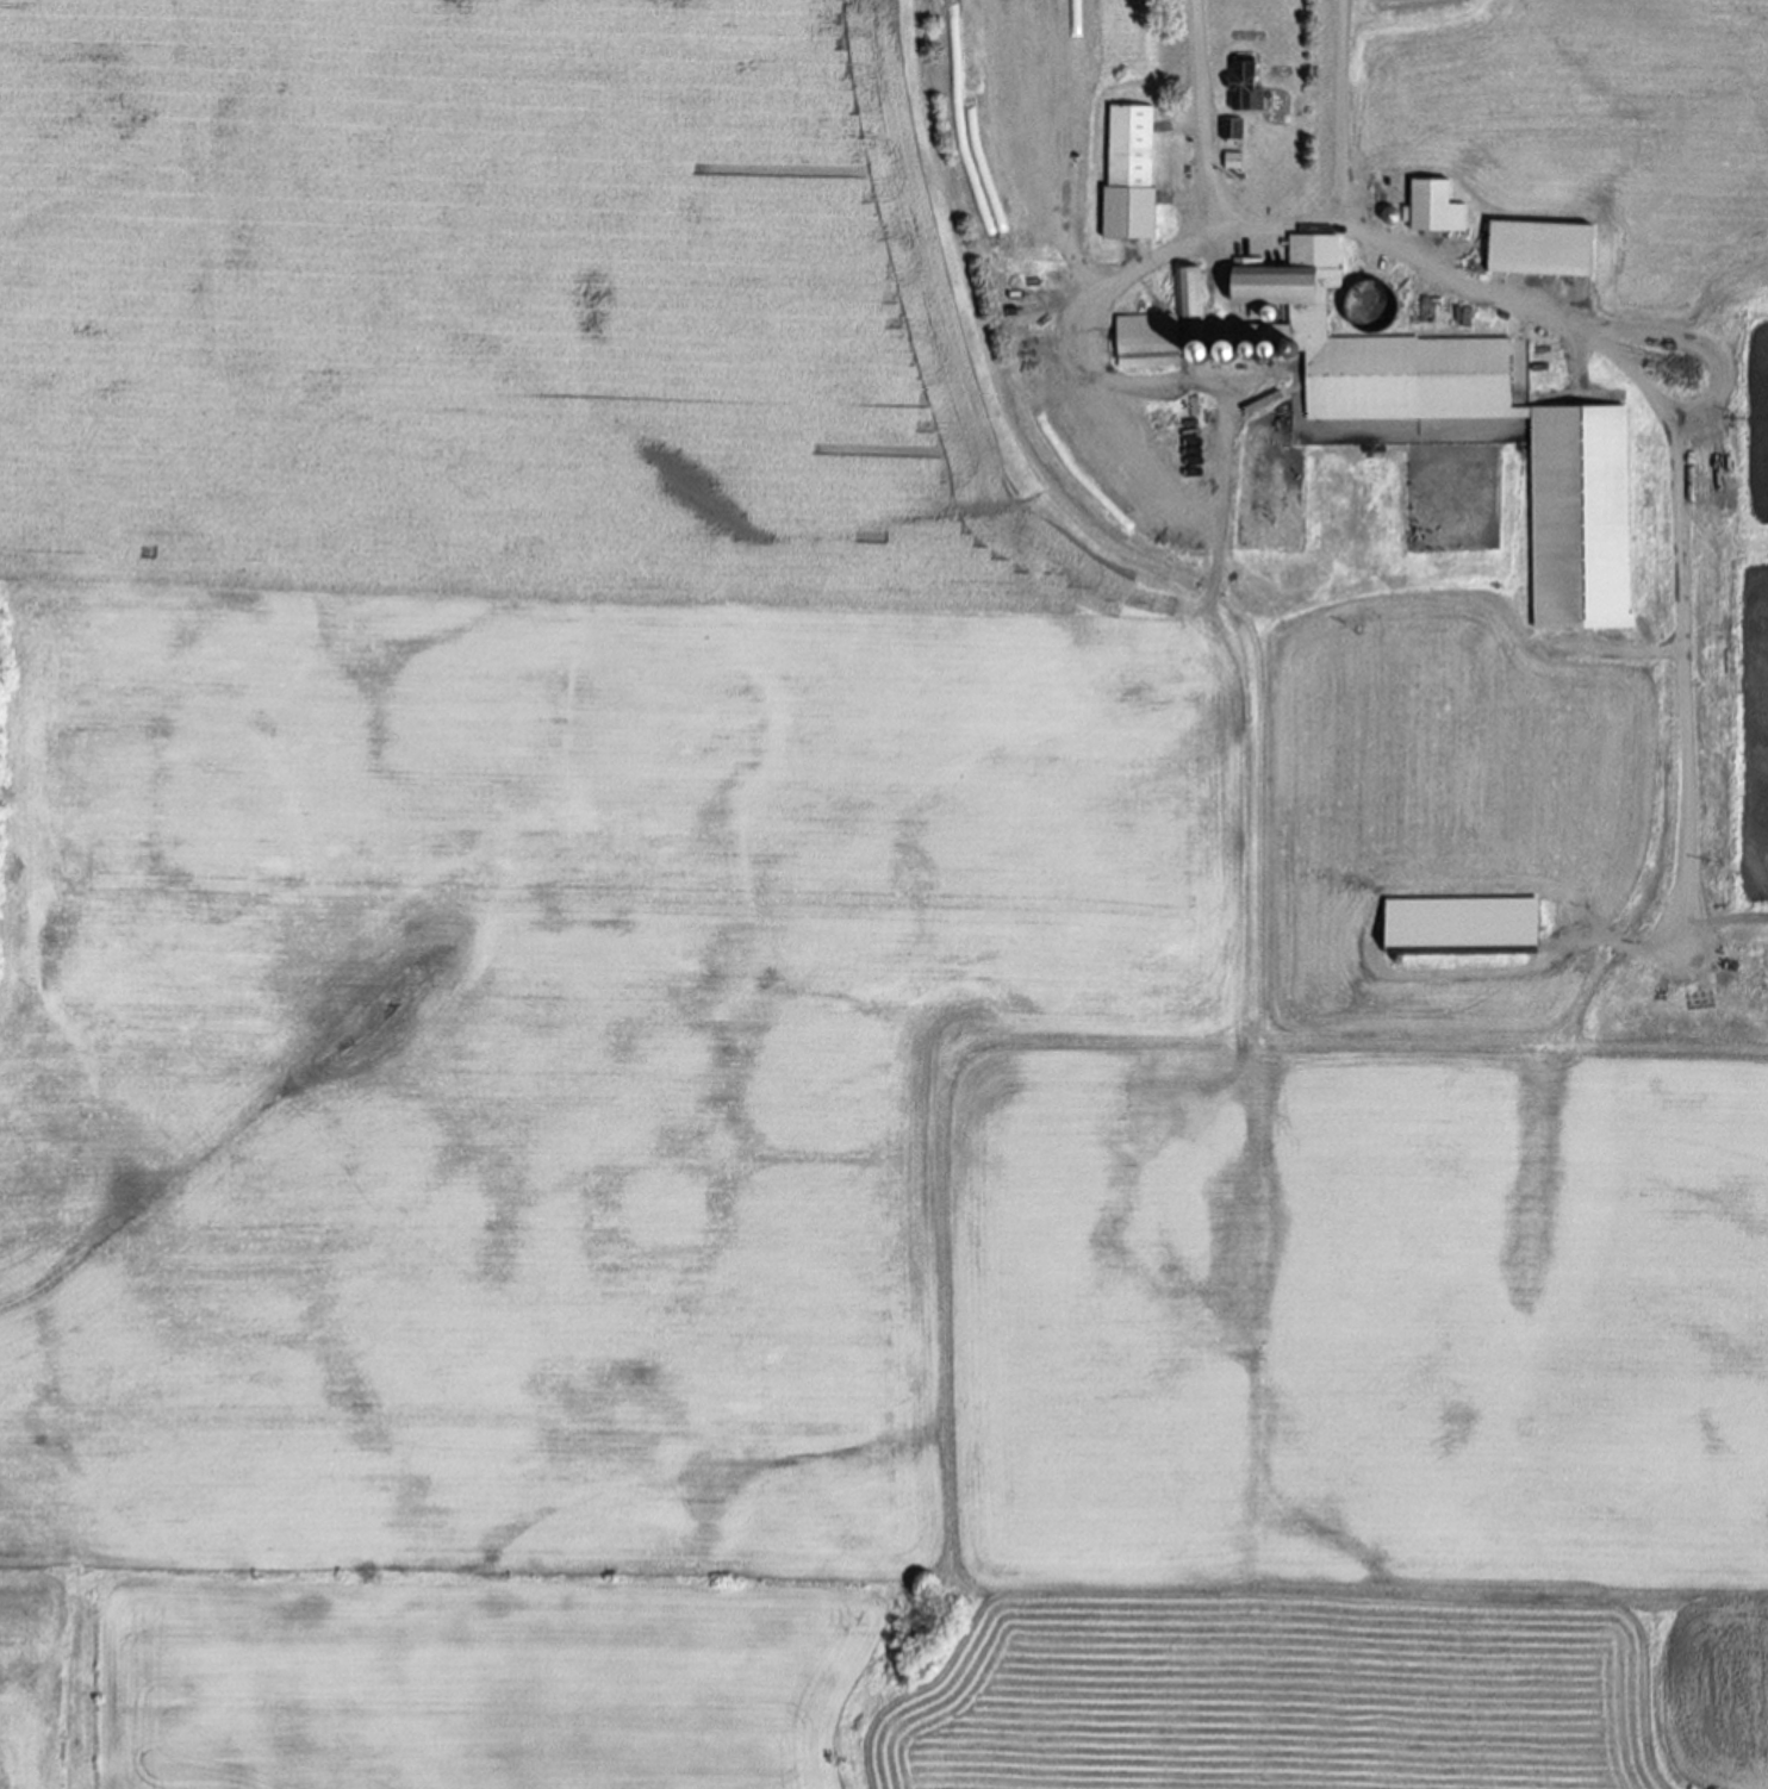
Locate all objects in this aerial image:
building: (1244, 87)
building: (1231, 130)
building: (1231, 162)
building: (1129, 173)
building: (1434, 207)
road: (1277, 230)
building: (1539, 249)
building: (1368, 293)
road: (1097, 337)
building: (1146, 343)
road: (1680, 487)
building: (1580, 525)
building: (1459, 928)

